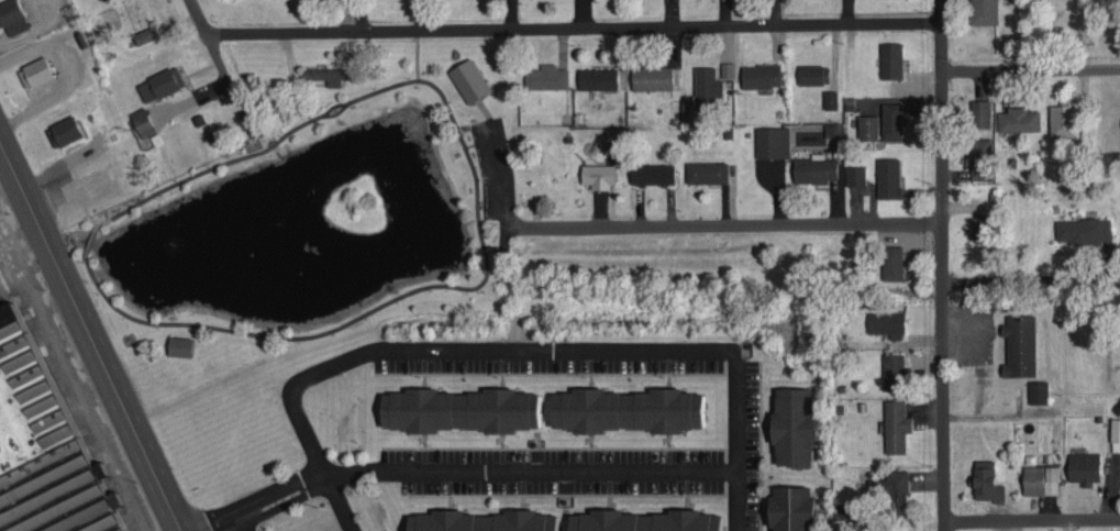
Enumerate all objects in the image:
building: (984, 11)
road: (199, 14)
building: (12, 15)
road: (573, 25)
building: (146, 33)
road: (217, 56)
building: (891, 58)
road: (1030, 67)
building: (728, 68)
building: (35, 70)
building: (328, 73)
building: (813, 73)
building: (762, 74)
building: (546, 75)
building: (652, 76)
building: (598, 77)
building: (469, 79)
building: (160, 82)
building: (701, 91)
building: (830, 98)
building: (980, 112)
building: (1019, 118)
building: (1065, 118)
building: (143, 121)
building: (895, 121)
building: (868, 125)
building: (833, 129)
building: (64, 130)
building: (773, 141)
building: (982, 156)
building: (816, 167)
building: (707, 170)
building: (653, 172)
building: (856, 174)
building: (598, 175)
building: (888, 176)
road: (732, 224)
building: (980, 225)
building: (1084, 229)
building: (892, 261)
road: (941, 265)
road: (1030, 280)
building: (887, 322)
road: (93, 330)
building: (1020, 343)
building: (180, 344)
road: (522, 350)
building: (894, 370)
building: (1039, 390)
building: (461, 408)
building: (626, 408)
building: (896, 424)
building: (794, 425)
building: (1116, 428)
building: (1085, 466)
road: (466, 468)
building: (1041, 478)
building: (986, 480)
building: (894, 489)
building: (66, 501)
building: (791, 507)
road: (1031, 518)
building: (483, 520)
building: (645, 520)

